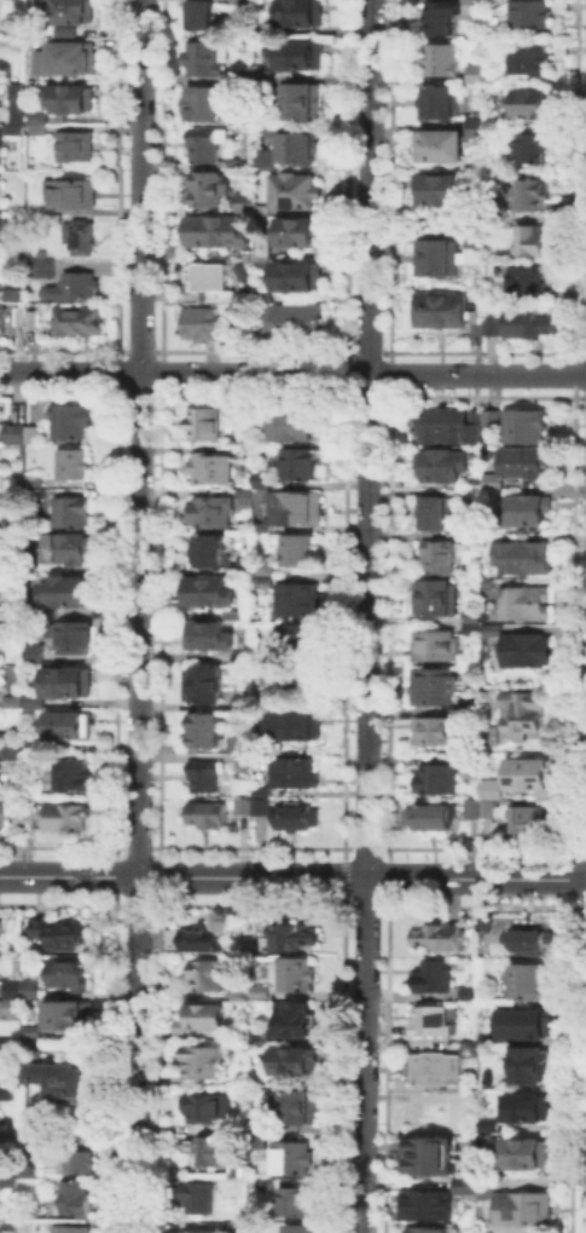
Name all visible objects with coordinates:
building: (244, 1)
building: (472, 6)
building: (76, 12)
building: (303, 12)
building: (527, 13)
building: (203, 16)
building: (437, 16)
building: (303, 56)
building: (528, 56)
building: (440, 57)
building: (207, 58)
building: (70, 61)
building: (474, 71)
building: (266, 76)
building: (439, 100)
building: (528, 100)
building: (77, 102)
building: (306, 103)
building: (208, 104)
building: (18, 113)
building: (475, 117)
building: (37, 125)
building: (475, 127)
building: (12, 132)
building: (439, 143)
building: (533, 145)
building: (209, 146)
building: (77, 148)
building: (302, 149)
building: (2, 156)
building: (267, 157)
building: (436, 186)
building: (209, 189)
building: (530, 191)
building: (74, 192)
building: (297, 194)
building: (246, 203)
building: (19, 207)
building: (504, 218)
building: (219, 234)
building: (298, 234)
building: (1, 235)
building: (472, 235)
building: (529, 238)
building: (85, 240)
building: (266, 252)
building: (435, 255)
building: (41, 266)
building: (1, 277)
building: (297, 277)
building: (523, 280)
building: (213, 282)
building: (76, 288)
building: (268, 295)
building: (16, 298)
building: (440, 307)
building: (21, 318)
building: (526, 321)
building: (4, 322)
building: (31, 322)
building: (81, 322)
building: (296, 323)
building: (491, 323)
building: (203, 324)
building: (475, 330)
road: (292, 373)
building: (265, 416)
building: (245, 420)
building: (493, 422)
building: (72, 424)
building: (207, 426)
building: (302, 426)
building: (446, 427)
building: (528, 428)
building: (11, 431)
building: (22, 439)
building: (524, 463)
building: (76, 466)
building: (302, 466)
building: (439, 468)
building: (214, 469)
building: (34, 480)
building: (263, 482)
building: (495, 488)
building: (475, 491)
building: (246, 500)
building: (0, 503)
building: (297, 509)
building: (533, 512)
building: (70, 513)
building: (211, 513)
building: (436, 514)
building: (14, 523)
building: (262, 531)
building: (472, 538)
building: (66, 552)
building: (303, 552)
building: (211, 553)
building: (441, 559)
building: (526, 559)
building: (265, 569)
building: (265, 582)
building: (1, 590)
building: (70, 593)
building: (211, 594)
building: (437, 600)
building: (300, 604)
building: (528, 605)
road: (139, 616)
road: (366, 616)
building: (234, 617)
building: (12, 618)
building: (469, 620)
building: (497, 630)
building: (209, 638)
building: (72, 639)
building: (0, 641)
building: (301, 641)
building: (439, 646)
building: (33, 651)
building: (529, 652)
building: (71, 684)
building: (205, 687)
building: (274, 687)
building: (434, 688)
building: (12, 703)
building: (244, 703)
building: (36, 704)
building: (472, 710)
building: (523, 713)
building: (74, 727)
building: (294, 728)
building: (439, 732)
building: (219, 736)
building: (492, 737)
building: (37, 748)
building: (14, 750)
building: (532, 774)
building: (295, 776)
building: (74, 777)
building: (207, 778)
building: (439, 782)
building: (488, 802)
building: (244, 808)
building: (19, 809)
building: (261, 809)
building: (209, 816)
building: (69, 819)
building: (296, 819)
building: (539, 819)
building: (434, 822)
road: (292, 875)
building: (2, 924)
building: (58, 930)
building: (294, 938)
building: (441, 939)
building: (204, 940)
building: (533, 944)
building: (68, 972)
building: (210, 976)
building: (298, 976)
building: (436, 978)
building: (530, 983)
building: (12, 987)
building: (28, 990)
building: (468, 990)
building: (10, 1006)
building: (66, 1013)
building: (205, 1020)
building: (298, 1020)
building: (434, 1022)
building: (526, 1025)
building: (31, 1030)
building: (263, 1033)
building: (488, 1039)
building: (6, 1042)
building: (31, 1045)
building: (474, 1050)
building: (300, 1061)
building: (204, 1062)
building: (534, 1067)
building: (440, 1070)
building: (62, 1079)
building: (262, 1079)
building: (7, 1091)
building: (208, 1108)
building: (302, 1108)
building: (528, 1110)
building: (489, 1123)
building: (11, 1135)
building: (260, 1135)
building: (213, 1151)
building: (530, 1156)
building: (431, 1158)
building: (80, 1159)
building: (297, 1159)
building: (11, 1181)
building: (471, 1182)
building: (488, 1189)
building: (76, 1197)
building: (203, 1198)
building: (301, 1203)
building: (429, 1206)
building: (527, 1209)
building: (11, 1223)
building: (74, 1228)
building: (427, 1228)
building: (244, 1229)
building: (304, 1229)
building: (201, 1231)

